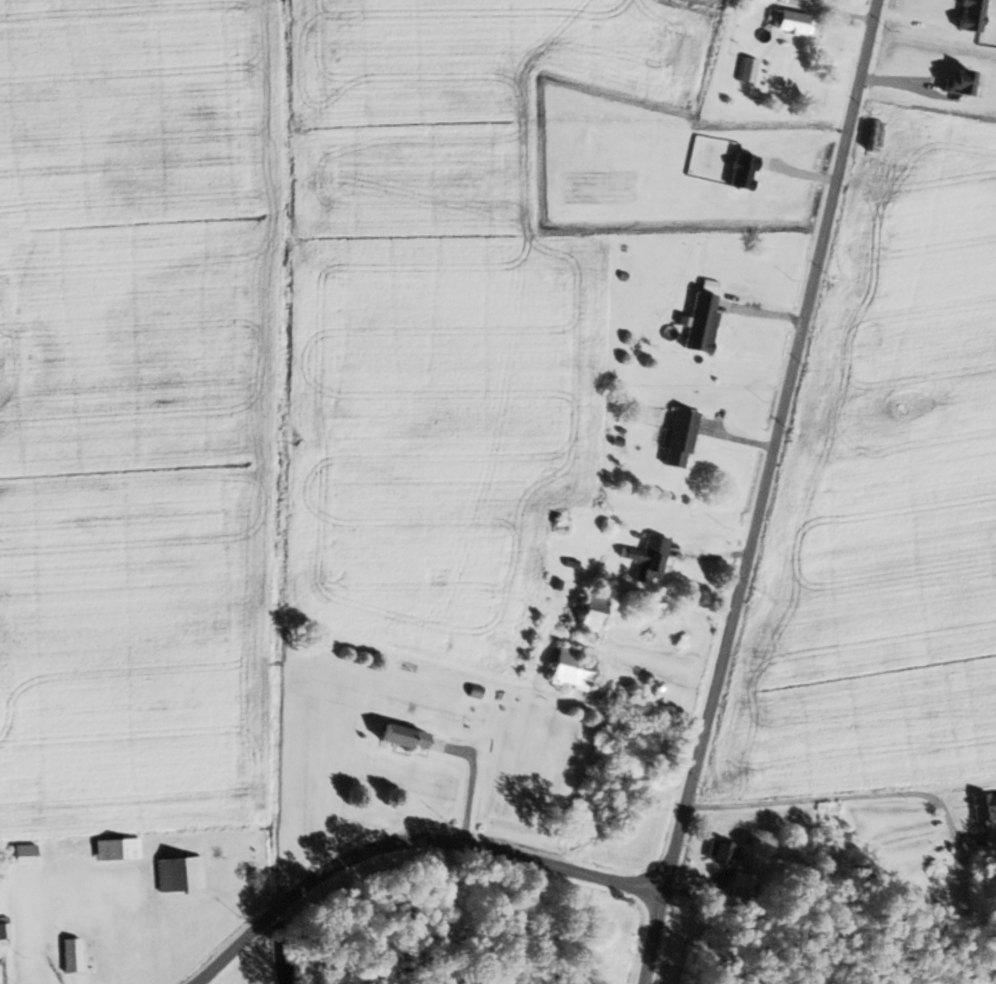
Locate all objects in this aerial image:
building: (768, 0)
building: (787, 21)
building: (744, 68)
building: (697, 321)
building: (675, 438)
road: (763, 492)
building: (690, 539)
building: (644, 557)
building: (589, 600)
building: (563, 667)
building: (396, 735)
road: (467, 781)
building: (983, 805)
road: (826, 807)
road: (410, 847)
building: (71, 848)
building: (113, 849)
building: (718, 852)
building: (19, 854)
building: (176, 873)
building: (737, 886)
building: (442, 902)
building: (2, 927)
building: (67, 954)

